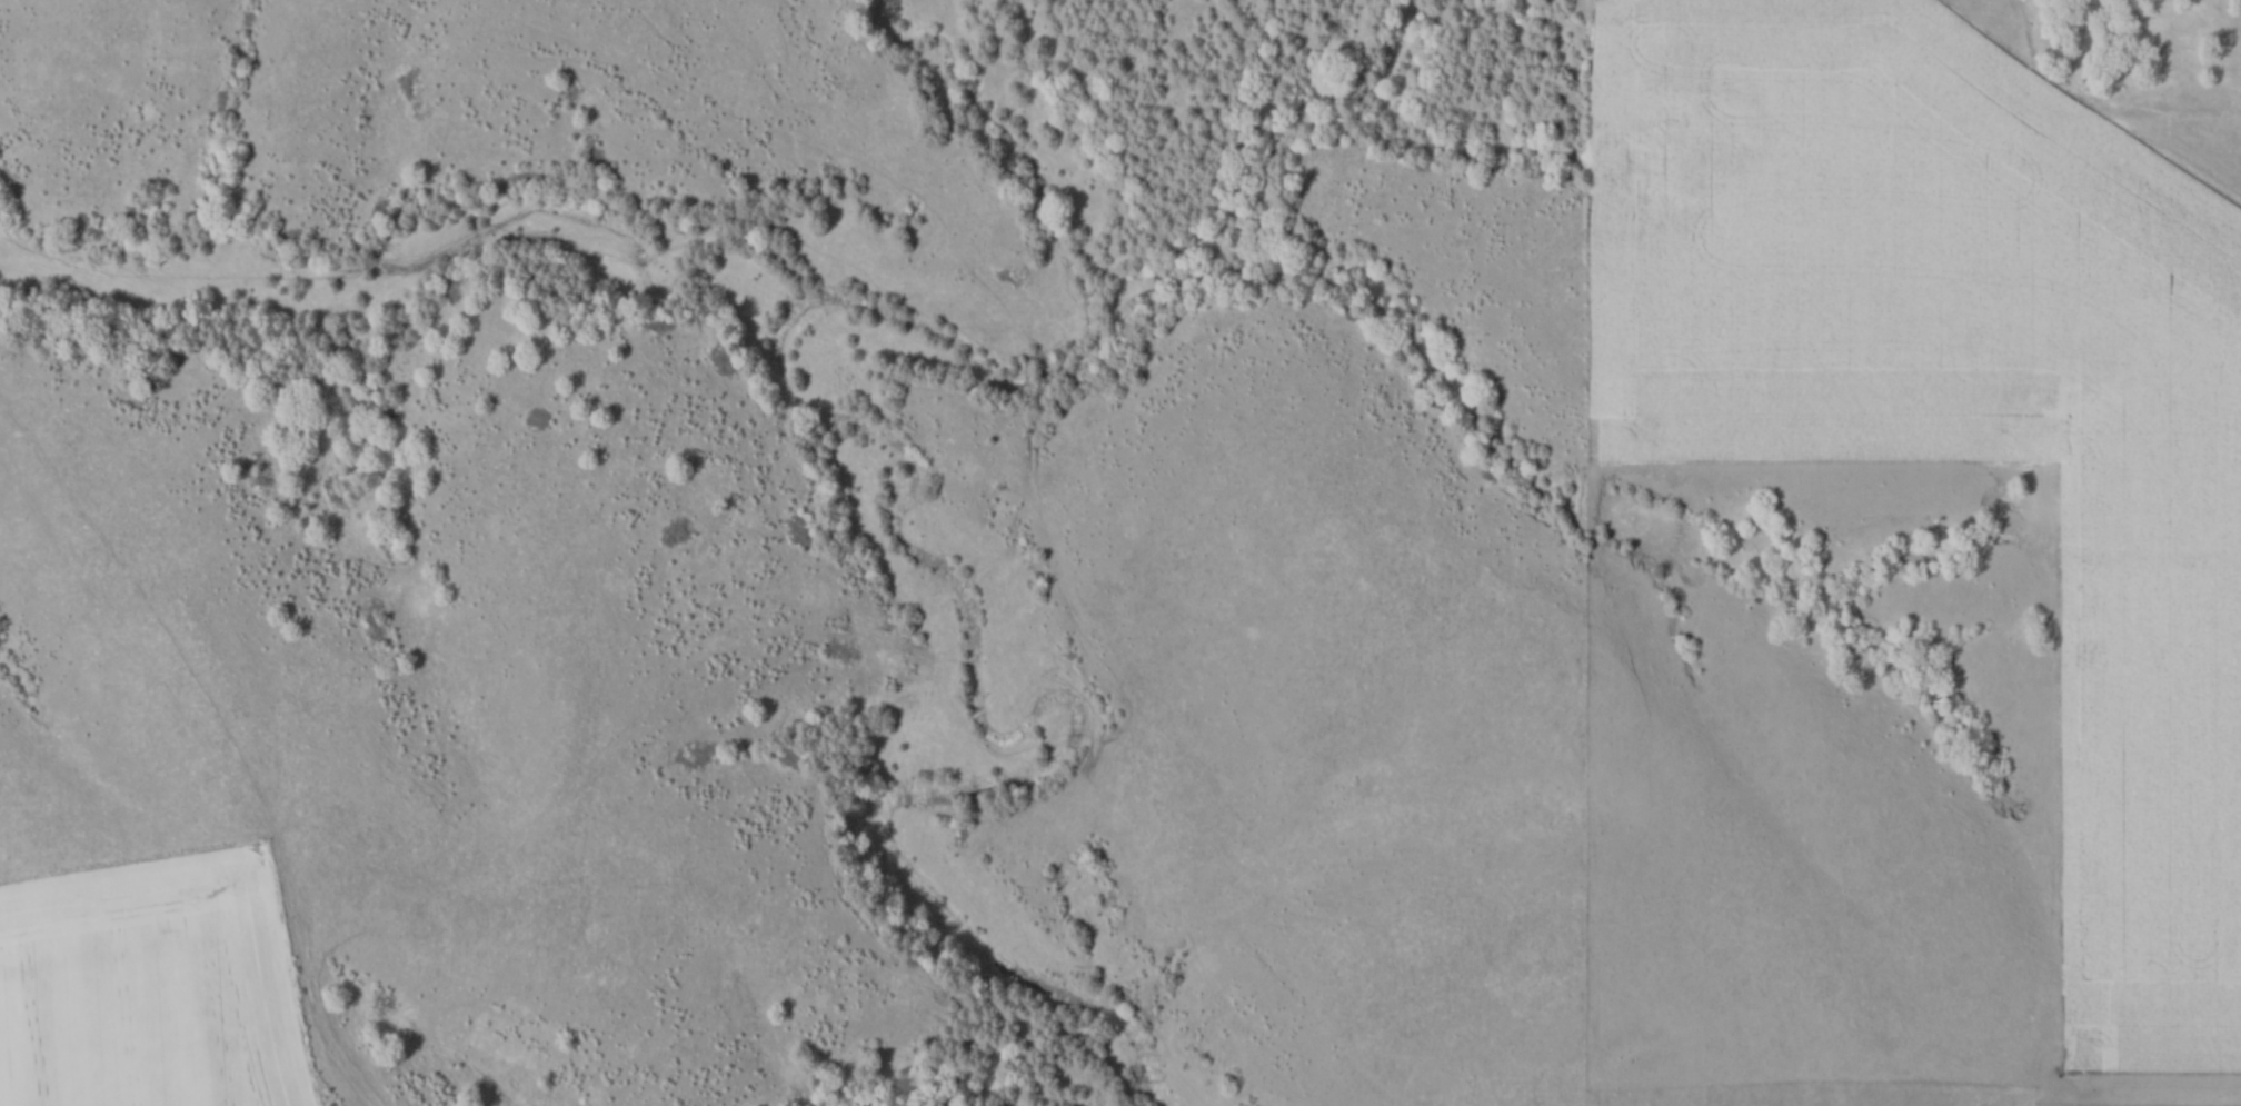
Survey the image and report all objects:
river: (894, 507)

